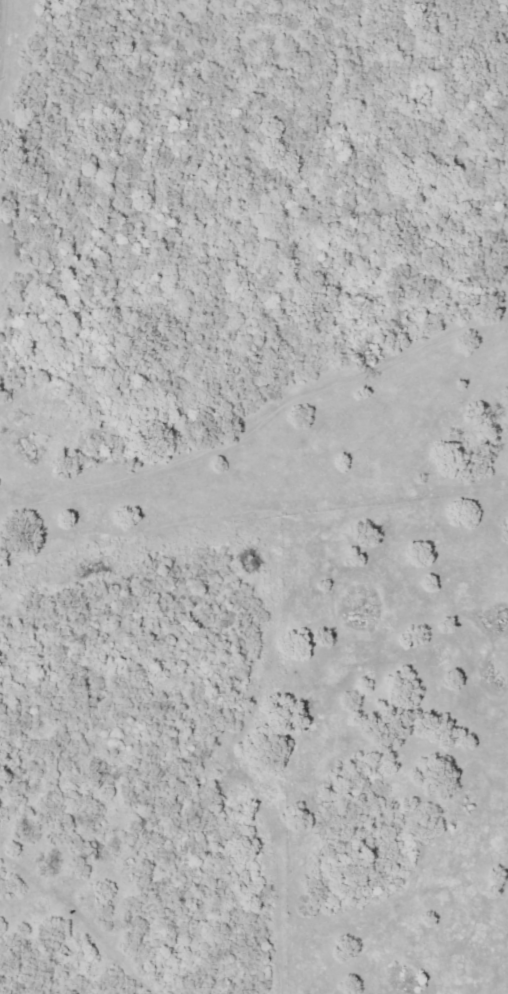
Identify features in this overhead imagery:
road: (264, 416)

